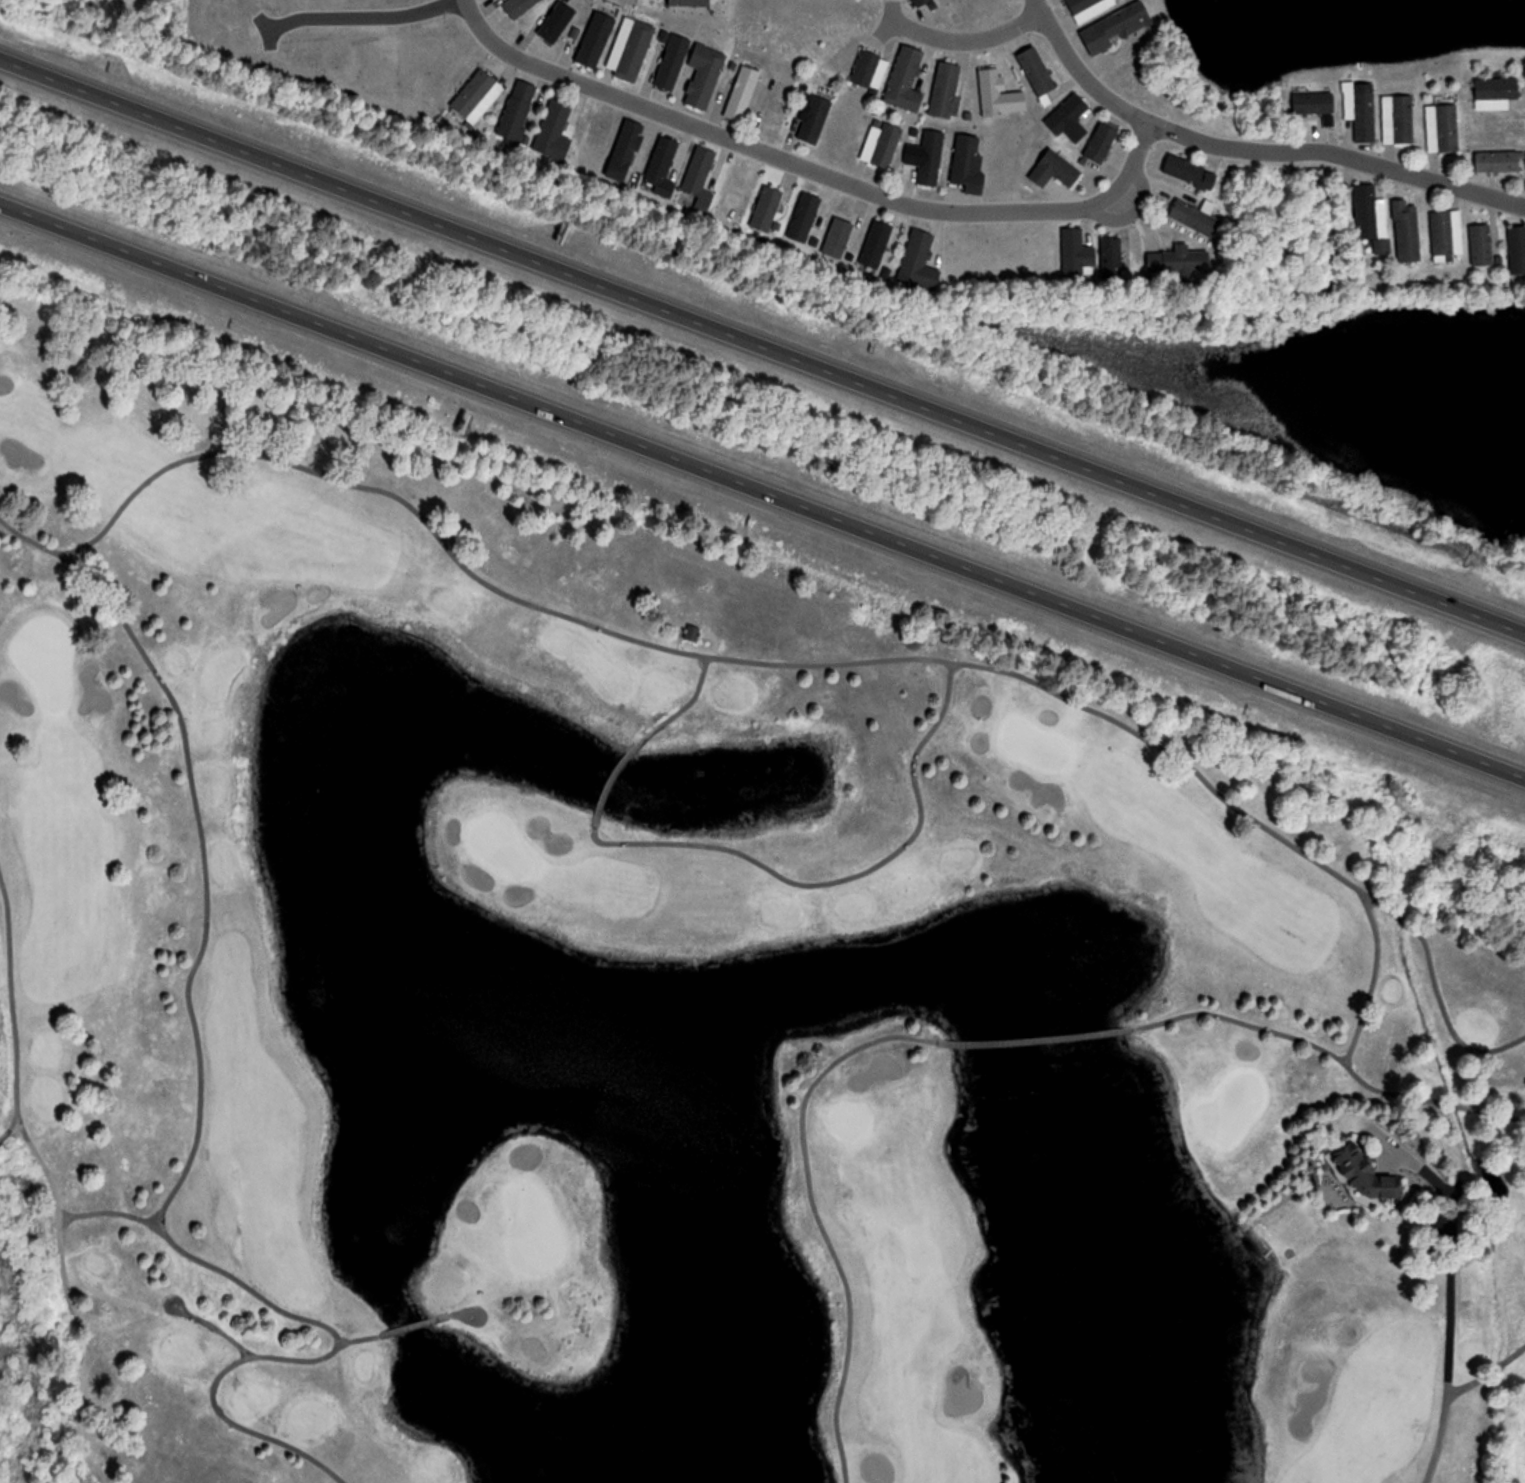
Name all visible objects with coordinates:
road: (128, 2)
building: (689, 2)
building: (920, 2)
road: (324, 8)
building: (1089, 8)
building: (1116, 27)
building: (596, 40)
road: (967, 40)
building: (631, 49)
building: (673, 62)
building: (870, 69)
building: (1037, 71)
building: (704, 76)
building: (906, 80)
building: (946, 90)
building: (743, 92)
building: (1496, 92)
building: (998, 95)
building: (476, 98)
building: (1314, 102)
building: (777, 108)
building: (518, 112)
building: (1361, 112)
building: (816, 118)
building: (1070, 118)
building: (1398, 119)
building: (553, 127)
building: (1442, 127)
building: (1507, 127)
building: (1102, 142)
building: (886, 145)
building: (626, 150)
road: (1252, 150)
building: (930, 158)
building: (1499, 161)
building: (969, 162)
road: (792, 164)
building: (663, 165)
building: (1056, 170)
building: (1189, 171)
building: (701, 173)
building: (767, 208)
building: (1366, 210)
building: (804, 217)
building: (1194, 218)
building: (1406, 230)
building: (1442, 232)
building: (876, 244)
building: (1481, 244)
building: (1517, 249)
building: (1073, 252)
building: (1112, 258)
building: (919, 261)
building: (1178, 262)
road: (764, 344)
road: (762, 490)
building: (693, 632)
road: (823, 663)
road: (690, 701)
park: (1033, 745)
park: (502, 846)
building: (1500, 862)
road: (841, 878)
road: (195, 966)
park: (687, 984)
road: (1332, 1054)
park: (1237, 1104)
road: (11, 1126)
building: (1364, 1172)
road: (49, 1180)
road: (108, 1211)
road: (819, 1222)
park: (533, 1228)
road: (1450, 1294)
road: (187, 1309)
road: (480, 1311)
road: (213, 1397)
road: (1438, 1440)

